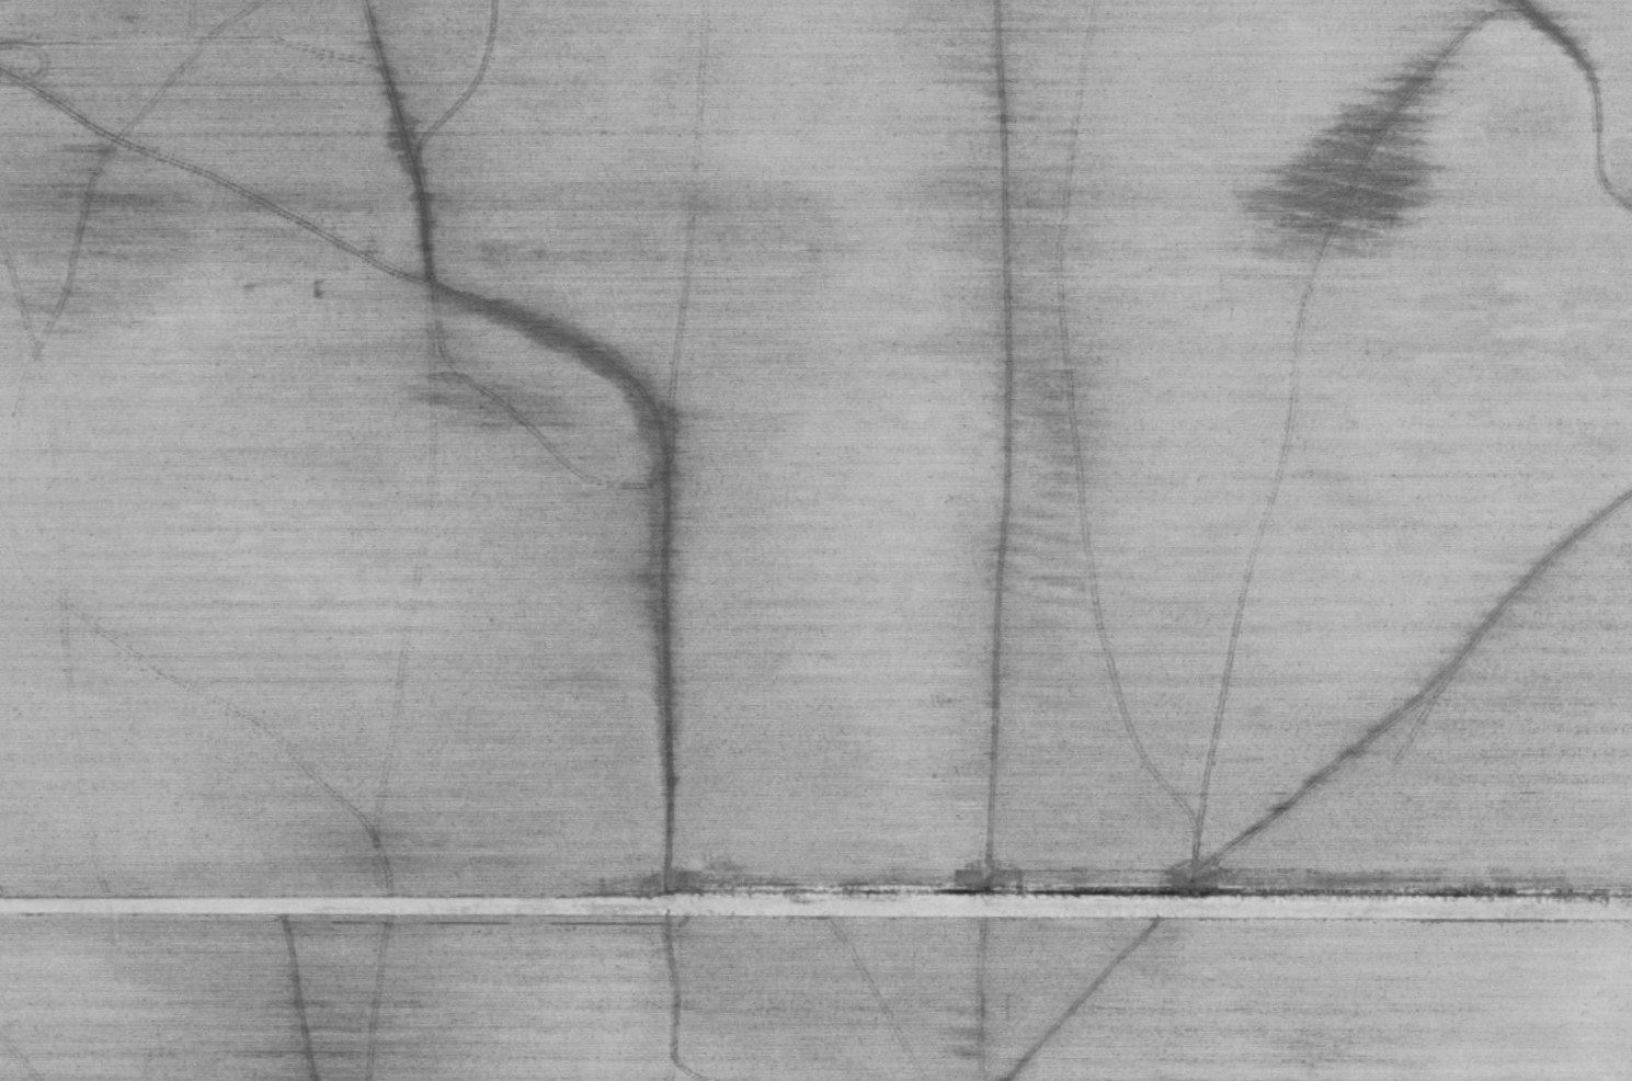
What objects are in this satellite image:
road: (815, 906)

